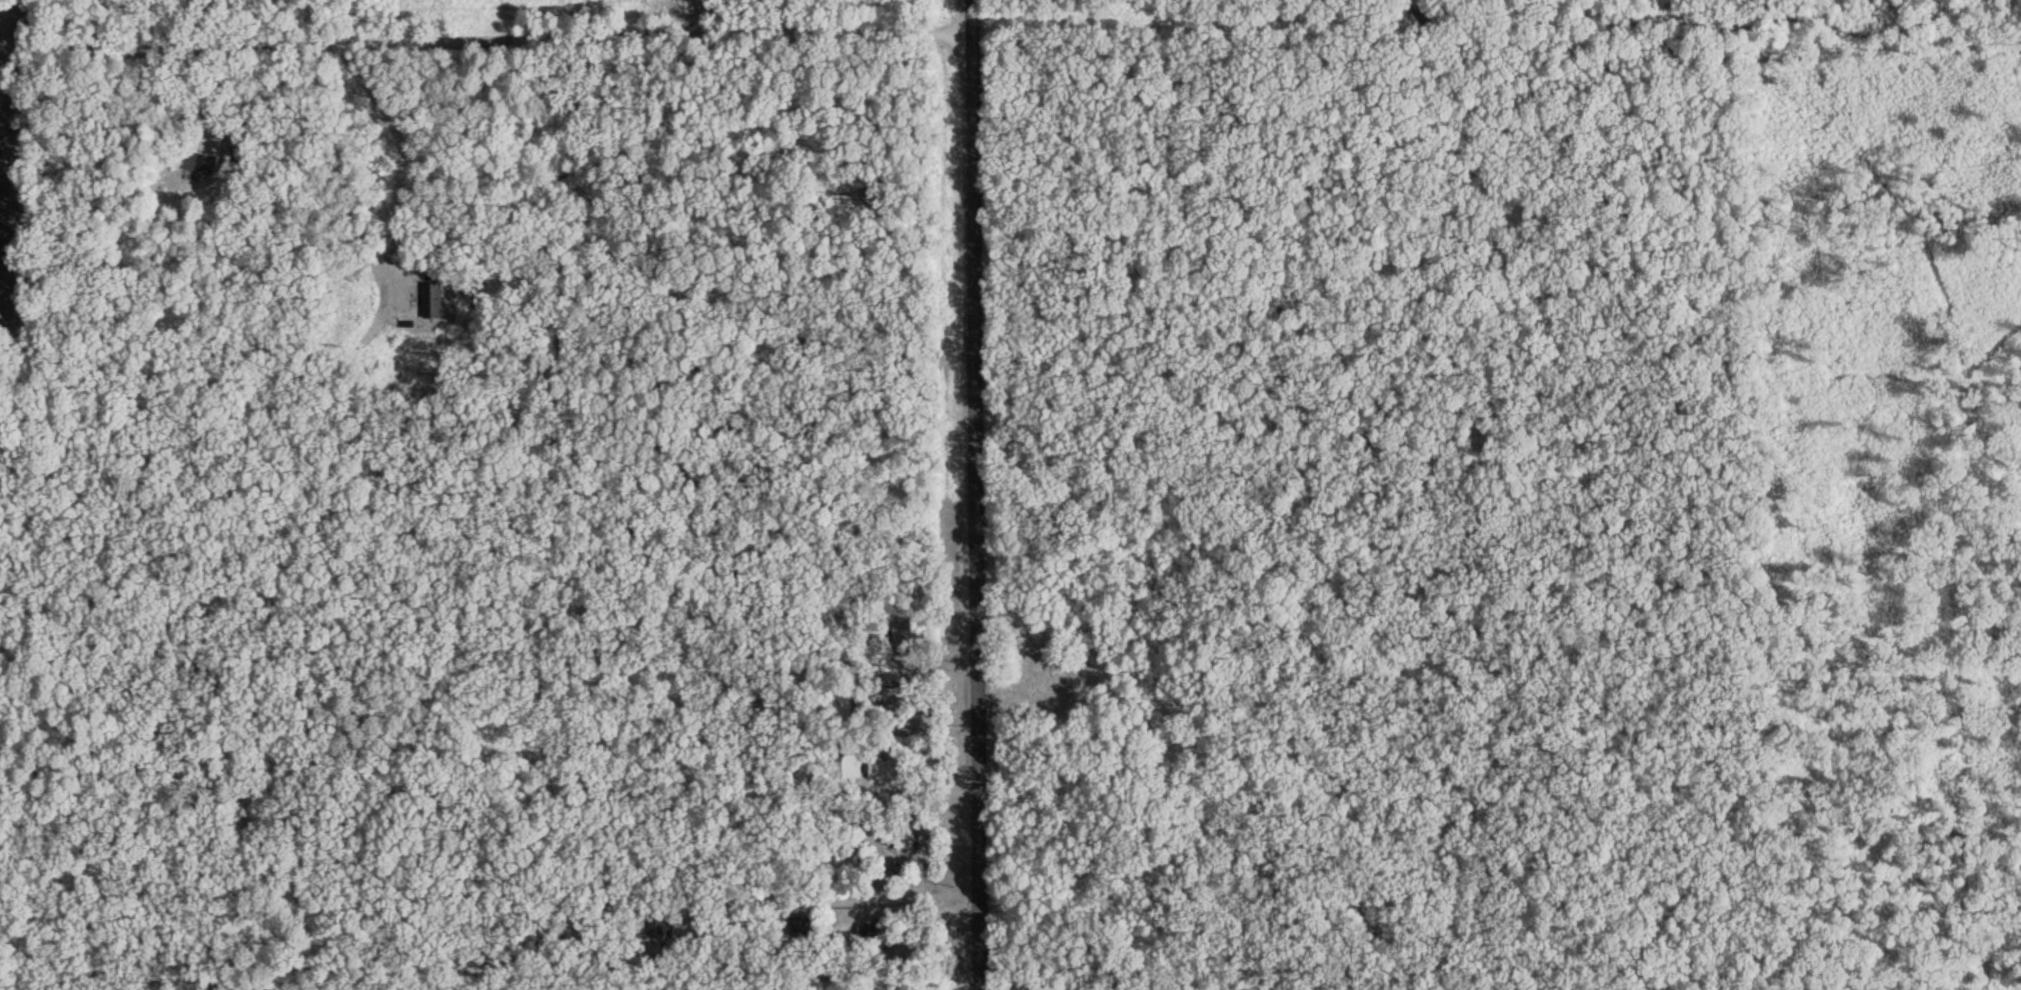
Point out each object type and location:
road: (1548, 12)
building: (1422, 18)
road: (696, 20)
road: (976, 20)
road: (1838, 22)
road: (488, 40)
road: (977, 515)
building: (897, 840)

